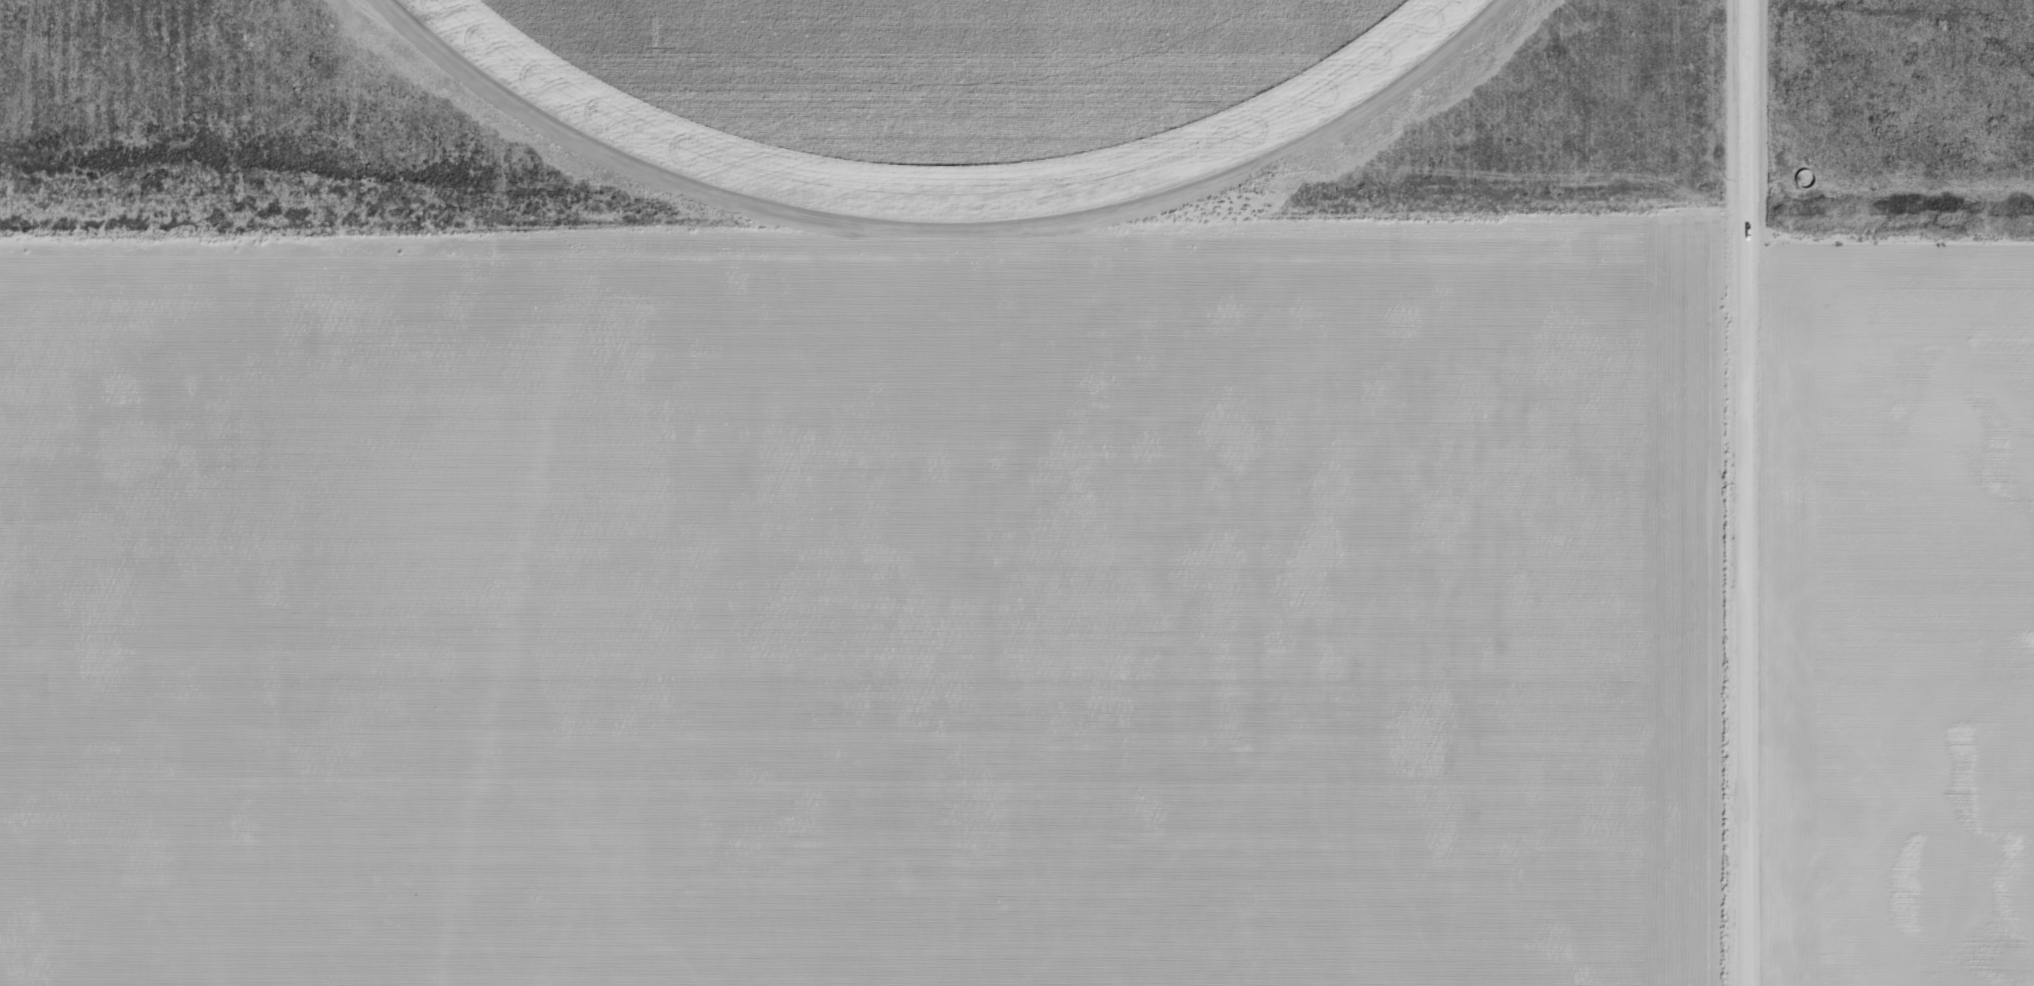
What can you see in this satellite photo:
road: (1757, 493)

